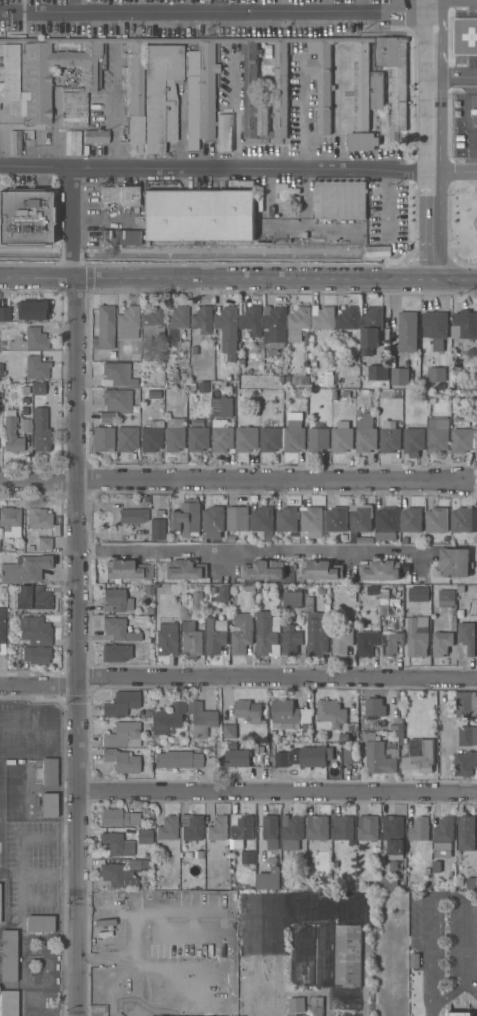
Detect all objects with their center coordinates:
road: (422, 6)
road: (76, 7)
road: (211, 13)
building: (465, 36)
helipad: (474, 39)
road: (451, 77)
building: (198, 86)
building: (377, 90)
building: (473, 112)
building: (96, 135)
building: (16, 142)
building: (75, 142)
road: (426, 146)
road: (213, 166)
road: (452, 170)
building: (121, 195)
building: (340, 200)
building: (199, 215)
building: (25, 217)
road: (75, 221)
building: (122, 237)
road: (238, 279)
building: (4, 313)
building: (38, 314)
building: (323, 317)
building: (348, 319)
building: (203, 320)
building: (252, 320)
building: (127, 321)
building: (152, 321)
building: (177, 322)
building: (298, 323)
building: (464, 325)
building: (275, 326)
building: (105, 328)
building: (228, 328)
building: (437, 328)
building: (371, 329)
building: (407, 332)
building: (30, 340)
building: (36, 367)
building: (180, 372)
building: (378, 373)
building: (118, 374)
building: (436, 374)
building: (400, 376)
building: (326, 379)
building: (468, 379)
building: (115, 400)
building: (225, 407)
building: (107, 417)
building: (27, 427)
building: (40, 427)
building: (12, 433)
building: (294, 433)
building: (175, 434)
building: (366, 434)
building: (438, 435)
building: (151, 436)
building: (342, 437)
building: (390, 437)
building: (127, 438)
building: (199, 438)
building: (318, 438)
building: (103, 439)
building: (222, 439)
building: (246, 439)
building: (270, 439)
building: (464, 440)
building: (414, 441)
road: (268, 479)
road: (38, 482)
building: (133, 515)
building: (9, 518)
building: (39, 518)
building: (186, 518)
building: (238, 518)
building: (336, 519)
building: (411, 519)
building: (436, 519)
building: (288, 520)
building: (464, 520)
building: (312, 521)
building: (213, 522)
building: (263, 523)
building: (361, 523)
building: (387, 524)
building: (158, 527)
building: (45, 543)
road: (251, 549)
building: (455, 562)
building: (25, 568)
building: (127, 570)
building: (185, 570)
building: (263, 570)
building: (322, 570)
building: (380, 571)
building: (315, 592)
building: (220, 593)
building: (446, 595)
building: (39, 598)
building: (194, 598)
building: (292, 599)
building: (116, 600)
building: (420, 600)
building: (384, 605)
building: (119, 630)
building: (2, 631)
building: (38, 632)
building: (216, 633)
building: (242, 635)
building: (292, 636)
building: (467, 636)
building: (342, 637)
building: (417, 638)
building: (167, 639)
building: (267, 639)
building: (191, 640)
building: (318, 640)
building: (367, 641)
building: (391, 643)
building: (442, 643)
road: (78, 646)
building: (116, 652)
building: (34, 654)
road: (228, 680)
building: (121, 703)
building: (466, 704)
building: (375, 707)
building: (248, 711)
building: (330, 715)
building: (283, 717)
building: (169, 718)
building: (202, 720)
building: (229, 731)
building: (123, 735)
building: (467, 735)
building: (420, 755)
building: (348, 756)
building: (379, 756)
building: (313, 757)
building: (238, 758)
building: (184, 759)
building: (282, 759)
building: (122, 760)
building: (465, 763)
building: (50, 772)
road: (268, 790)
building: (12, 798)
building: (49, 805)
building: (119, 818)
building: (192, 826)
building: (318, 827)
building: (168, 828)
building: (218, 828)
building: (343, 828)
building: (368, 828)
building: (419, 829)
building: (241, 830)
building: (271, 831)
building: (292, 832)
building: (467, 833)
building: (145, 835)
building: (394, 835)
building: (443, 837)
building: (116, 844)
building: (248, 857)
building: (123, 871)
building: (268, 879)
building: (472, 883)
building: (388, 884)
road: (453, 897)
road: (149, 906)
building: (40, 923)
road: (200, 944)
building: (8, 955)
road: (182, 955)
building: (348, 956)
building: (415, 960)
road: (218, 963)
building: (262, 987)
building: (136, 995)
building: (9, 1003)
building: (296, 1005)
building: (317, 1006)
road: (427, 1014)
building: (458, 1014)
building: (300, 1015)
building: (349, 1015)

